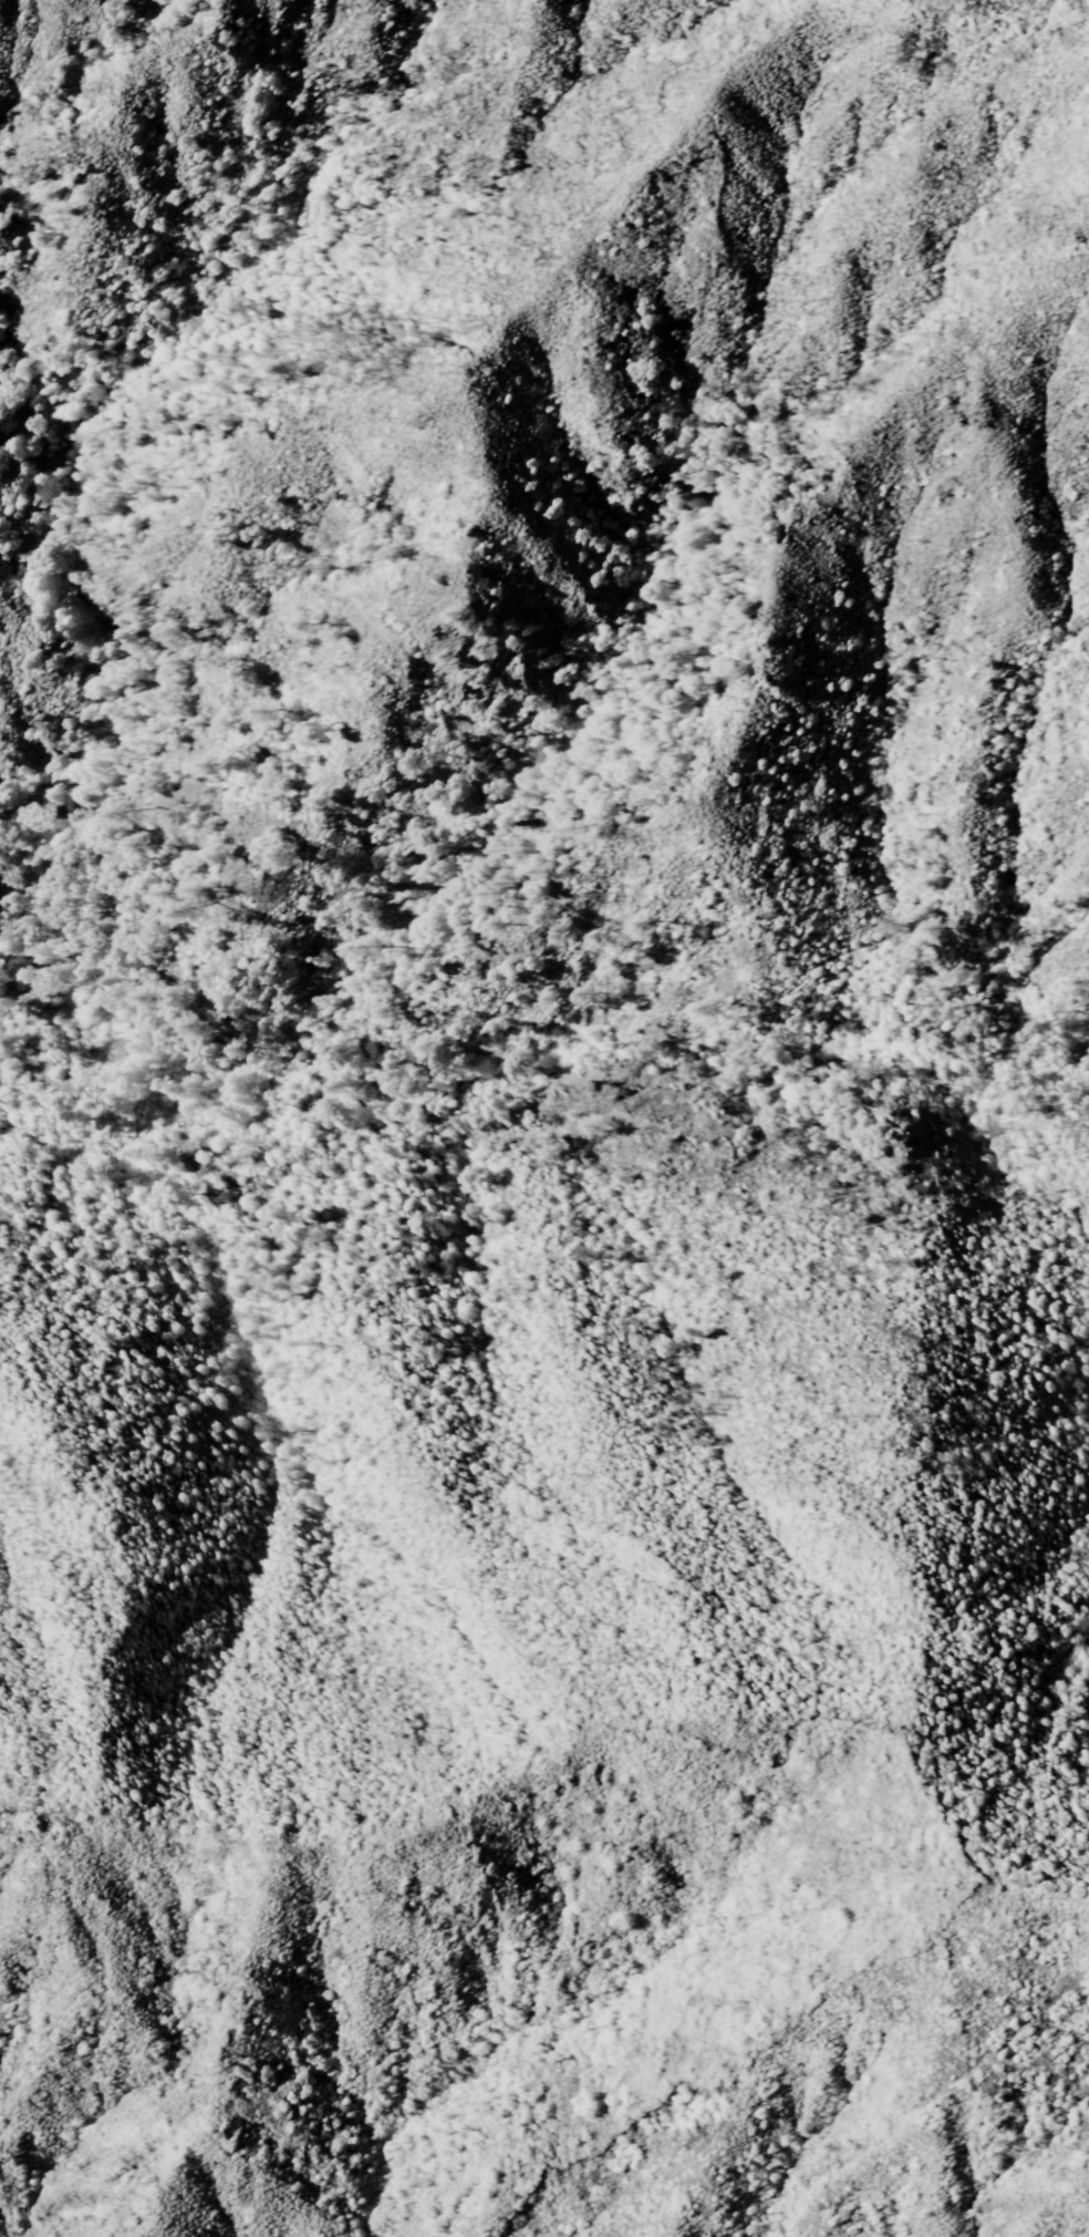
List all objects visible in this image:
road: (486, 937)

